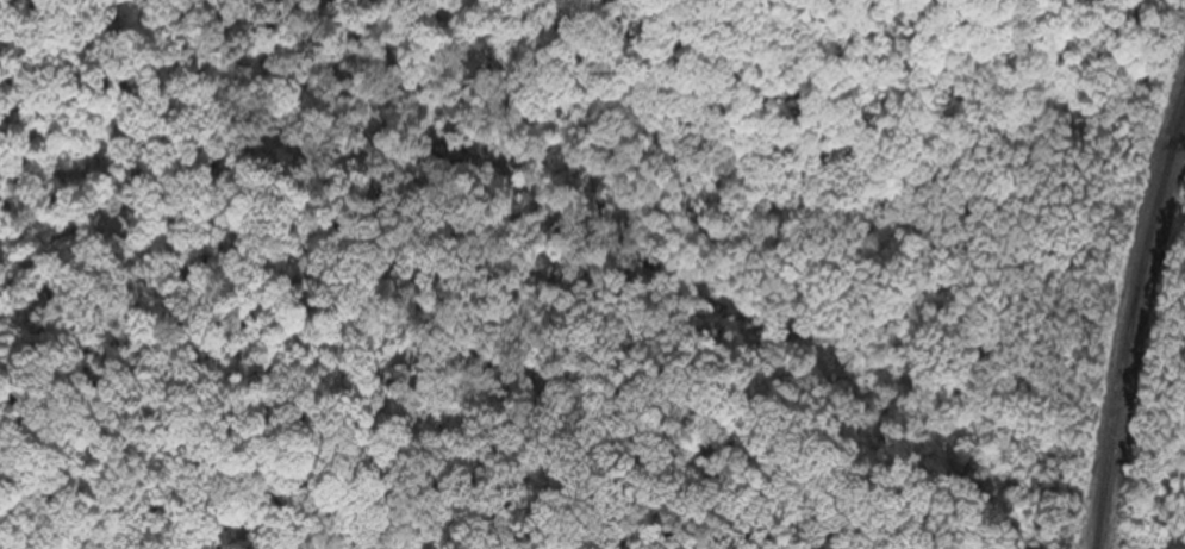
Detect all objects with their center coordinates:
railway: (1136, 333)

